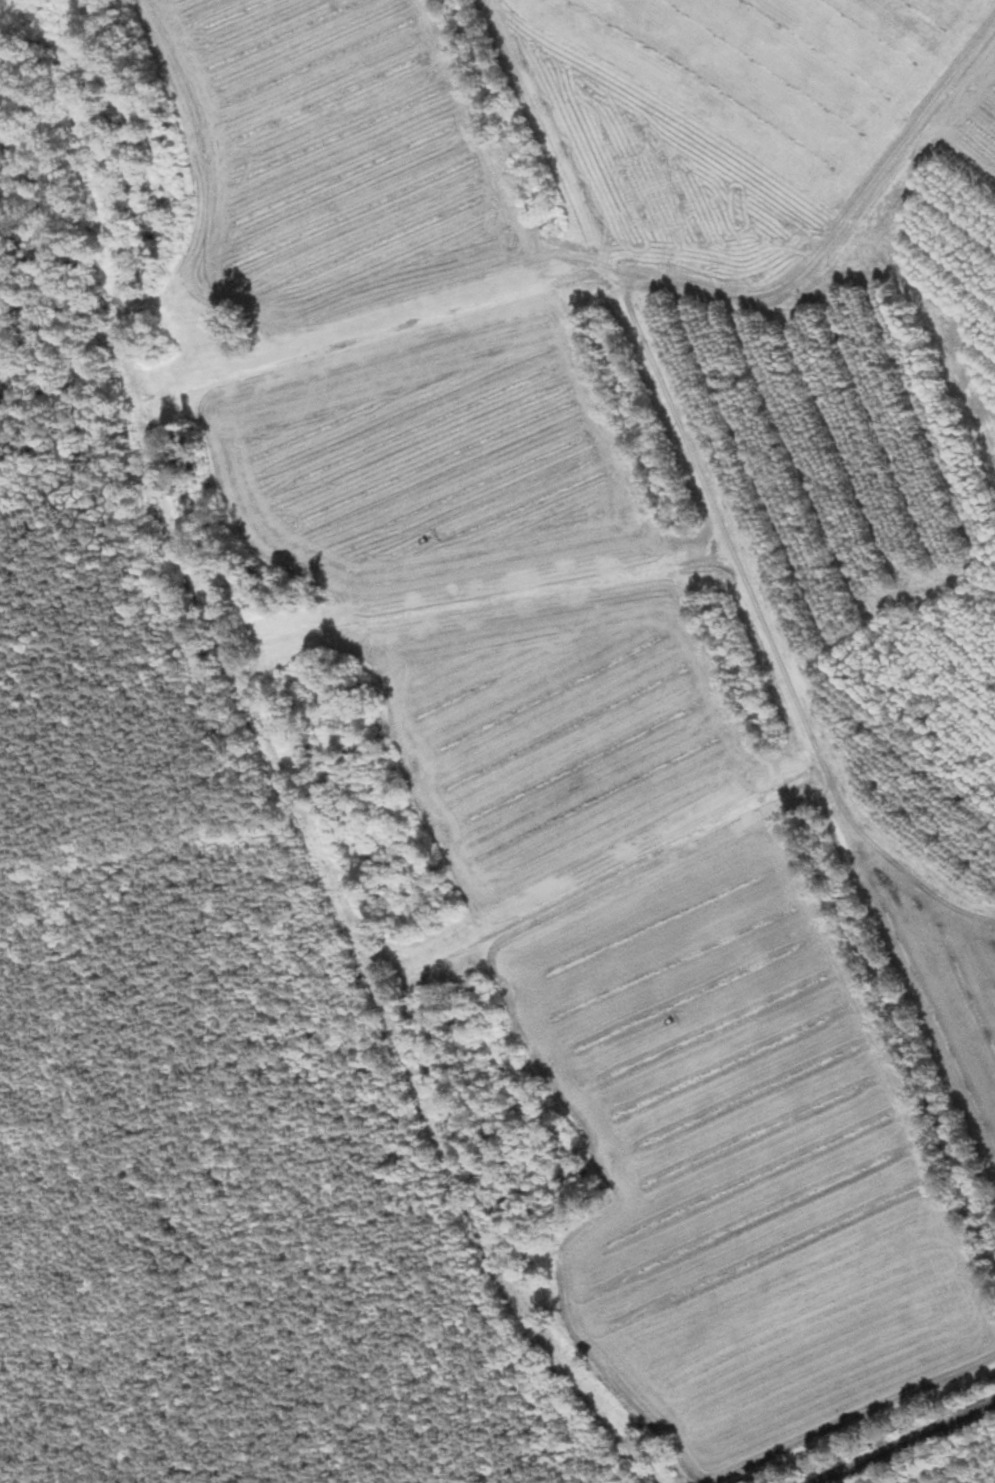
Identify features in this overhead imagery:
railway: (910, 1443)

